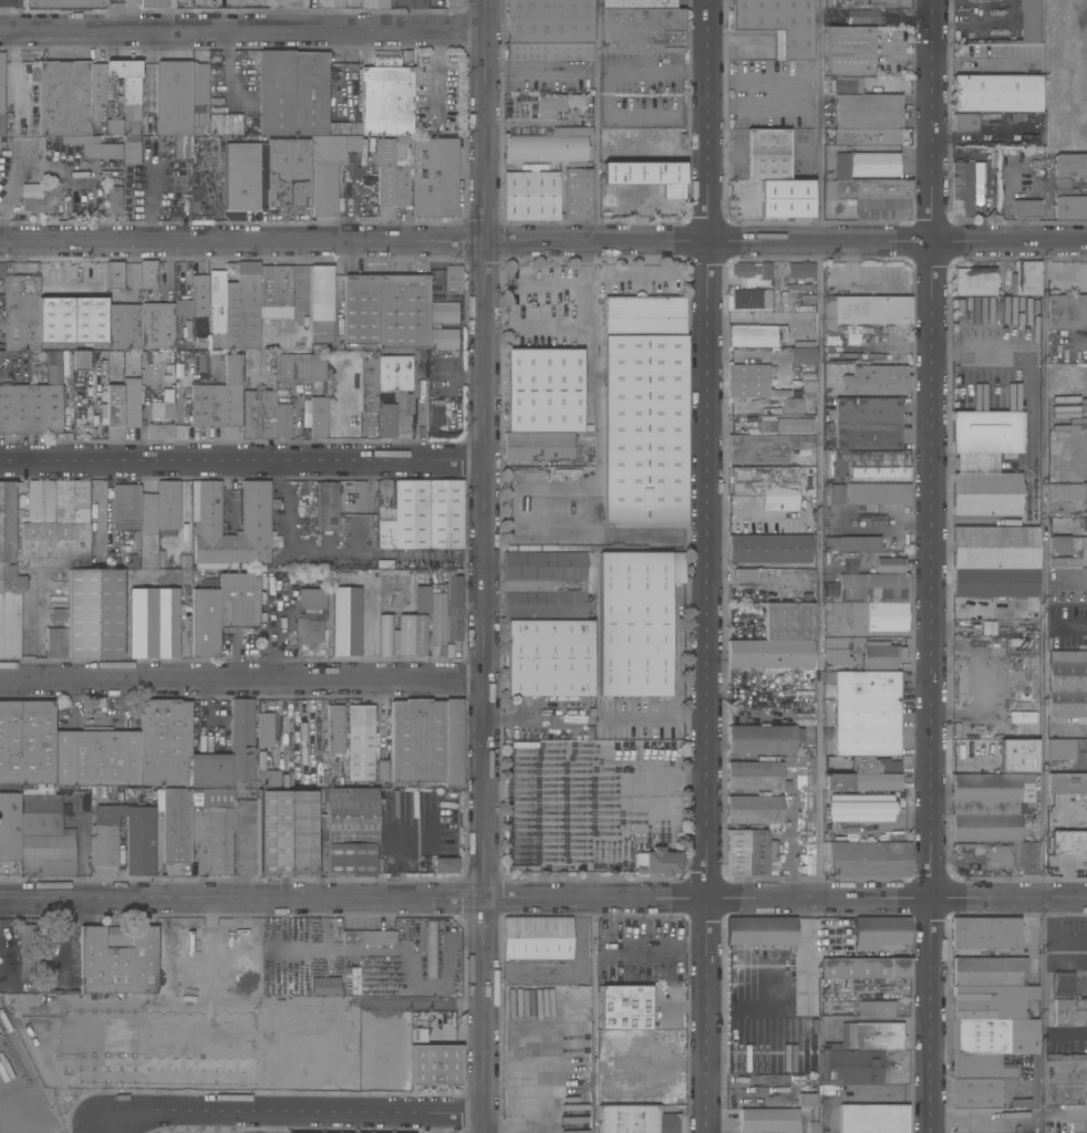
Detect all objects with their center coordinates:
building: (130, 1)
building: (64, 3)
building: (453, 3)
building: (153, 4)
building: (329, 4)
building: (373, 4)
road: (0, 15)
road: (287, 15)
building: (862, 18)
building: (549, 21)
building: (1029, 21)
building: (776, 22)
building: (641, 27)
road: (244, 31)
building: (848, 51)
building: (547, 52)
road: (652, 73)
building: (126, 77)
building: (96, 84)
building: (198, 84)
building: (1, 91)
building: (291, 93)
building: (995, 95)
building: (385, 97)
building: (62, 98)
building: (173, 98)
building: (549, 105)
building: (863, 107)
road: (652, 111)
road: (596, 121)
road: (933, 121)
building: (125, 122)
building: (964, 122)
building: (197, 123)
building: (227, 124)
building: (866, 137)
building: (351, 143)
building: (543, 148)
building: (81, 149)
building: (130, 152)
building: (1038, 163)
building: (865, 165)
building: (1070, 165)
building: (402, 170)
building: (288, 173)
building: (324, 173)
building: (385, 173)
road: (10, 175)
building: (775, 175)
building: (241, 176)
building: (434, 177)
building: (642, 178)
building: (961, 189)
building: (32, 191)
building: (577, 194)
building: (531, 196)
building: (113, 198)
building: (876, 198)
building: (1067, 201)
building: (39, 202)
road: (152, 202)
building: (95, 204)
building: (1032, 204)
road: (466, 241)
road: (1010, 241)
building: (743, 270)
building: (800, 270)
building: (765, 271)
building: (228, 272)
building: (147, 274)
building: (113, 276)
building: (187, 277)
building: (61, 279)
building: (1025, 279)
building: (453, 280)
building: (974, 282)
building: (1, 291)
building: (275, 292)
building: (198, 295)
building: (750, 299)
building: (216, 300)
building: (321, 308)
building: (182, 309)
building: (241, 309)
building: (360, 310)
building: (865, 310)
building: (402, 311)
building: (1066, 312)
building: (20, 313)
building: (444, 313)
road: (587, 322)
building: (156, 325)
building: (123, 326)
building: (755, 335)
building: (300, 339)
building: (443, 340)
road: (982, 350)
building: (801, 355)
building: (53, 357)
building: (260, 360)
building: (80, 361)
building: (1, 367)
building: (300, 367)
building: (747, 372)
building: (394, 374)
building: (53, 375)
building: (876, 380)
building: (367, 385)
building: (753, 389)
building: (542, 391)
building: (226, 395)
building: (131, 403)
building: (114, 405)
building: (178, 405)
building: (198, 405)
building: (790, 406)
building: (31, 410)
building: (644, 412)
building: (258, 414)
building: (341, 416)
building: (161, 417)
building: (318, 418)
building: (435, 418)
building: (282, 420)
building: (387, 420)
building: (785, 424)
building: (867, 424)
building: (537, 447)
building: (765, 447)
road: (818, 448)
building: (1085, 458)
road: (244, 461)
building: (828, 461)
building: (984, 462)
building: (877, 466)
building: (773, 486)
building: (1068, 492)
building: (836, 493)
building: (878, 493)
building: (825, 497)
building: (167, 506)
building: (325, 506)
building: (125, 507)
building: (147, 514)
building: (418, 514)
building: (1083, 523)
building: (55, 524)
building: (255, 524)
building: (851, 543)
building: (587, 548)
building: (994, 548)
building: (768, 549)
road: (329, 550)
building: (1067, 551)
building: (842, 555)
road: (708, 565)
building: (889, 565)
road: (486, 566)
road: (932, 570)
building: (9, 573)
building: (744, 578)
building: (995, 582)
road: (1068, 583)
building: (543, 585)
building: (871, 589)
building: (766, 594)
building: (310, 599)
building: (421, 600)
building: (454, 609)
building: (221, 611)
building: (92, 614)
building: (872, 615)
building: (437, 616)
building: (345, 622)
building: (634, 622)
building: (142, 623)
building: (166, 623)
road: (1070, 627)
building: (988, 628)
building: (309, 630)
building: (401, 635)
building: (777, 640)
building: (55, 643)
building: (1018, 643)
building: (835, 652)
building: (881, 655)
building: (548, 658)
road: (242, 680)
building: (1067, 684)
road: (1042, 686)
building: (866, 714)
building: (334, 729)
building: (265, 730)
building: (1086, 731)
building: (767, 738)
building: (163, 741)
building: (416, 741)
building: (360, 742)
building: (452, 744)
building: (27, 748)
building: (1060, 749)
building: (230, 755)
building: (95, 758)
building: (873, 766)
building: (381, 771)
building: (754, 776)
building: (268, 778)
building: (861, 781)
building: (1066, 783)
building: (805, 788)
road: (602, 790)
building: (987, 807)
building: (859, 809)
building: (753, 810)
building: (350, 815)
building: (175, 825)
building: (9, 828)
building: (896, 830)
building: (224, 831)
building: (105, 834)
building: (288, 834)
building: (1070, 838)
building: (43, 839)
building: (139, 841)
road: (793, 844)
building: (749, 853)
building: (1005, 855)
building: (867, 857)
building: (349, 860)
building: (656, 863)
building: (445, 866)
road: (466, 898)
road: (1010, 898)
building: (760, 932)
building: (880, 932)
building: (984, 934)
building: (366, 938)
building: (536, 938)
building: (431, 949)
building: (25, 950)
building: (117, 959)
building: (862, 968)
building: (990, 971)
building: (351, 980)
building: (324, 986)
building: (1068, 986)
building: (990, 1002)
building: (809, 1004)
building: (624, 1008)
building: (876, 1009)
building: (1069, 1012)
road: (591, 1016)
road: (932, 1016)
road: (1064, 1031)
building: (611, 1037)
building: (869, 1037)
building: (994, 1037)
building: (435, 1066)
building: (853, 1067)
building: (981, 1067)
building: (1033, 1075)
building: (1065, 1079)
building: (605, 1087)
building: (568, 1091)
building: (980, 1092)
road: (860, 1094)
building: (807, 1100)
road: (292, 1112)
building: (873, 1119)
road: (1010, 1119)
building: (634, 1120)
building: (768, 1121)
road: (267, 1122)
road: (434, 1123)
building: (812, 1126)
road: (103, 1130)
building: (583, 1131)

